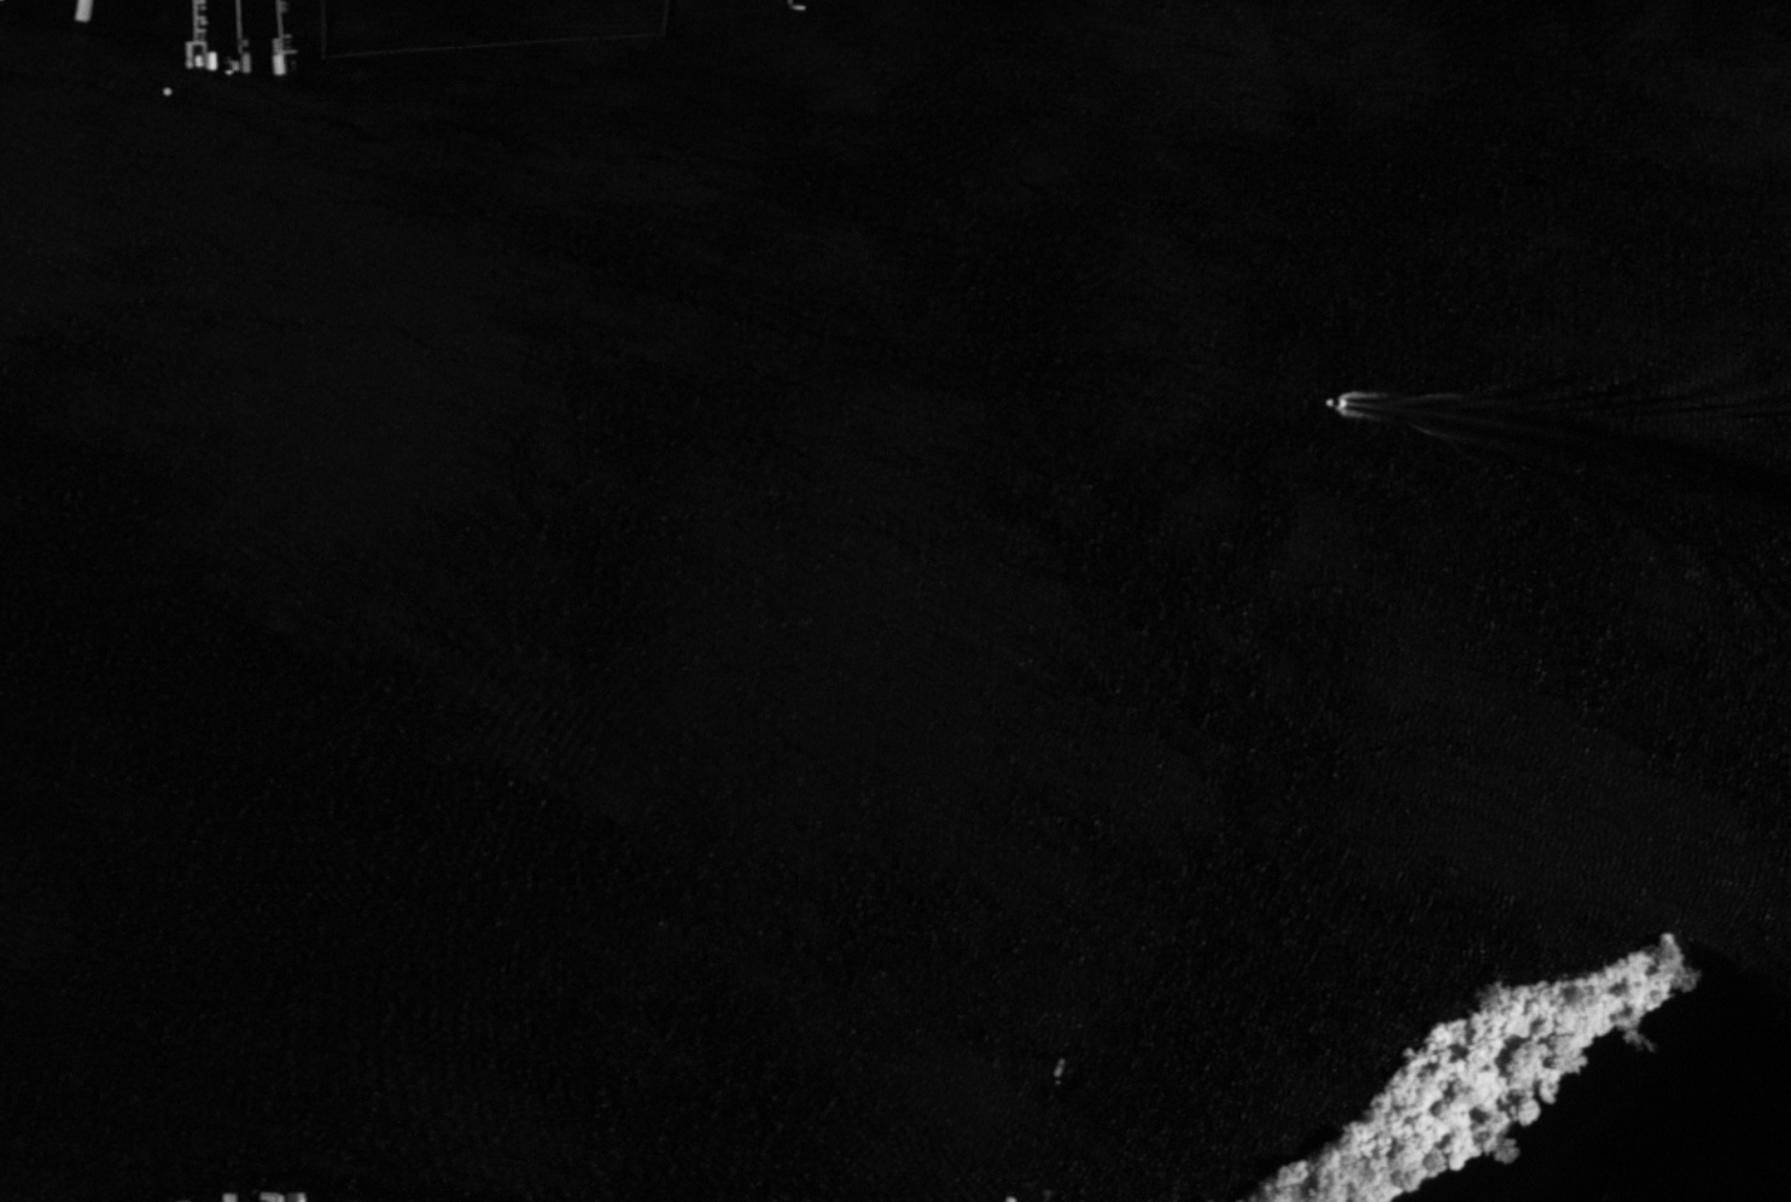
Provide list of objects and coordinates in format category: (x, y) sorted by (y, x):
river: (903, 664)

